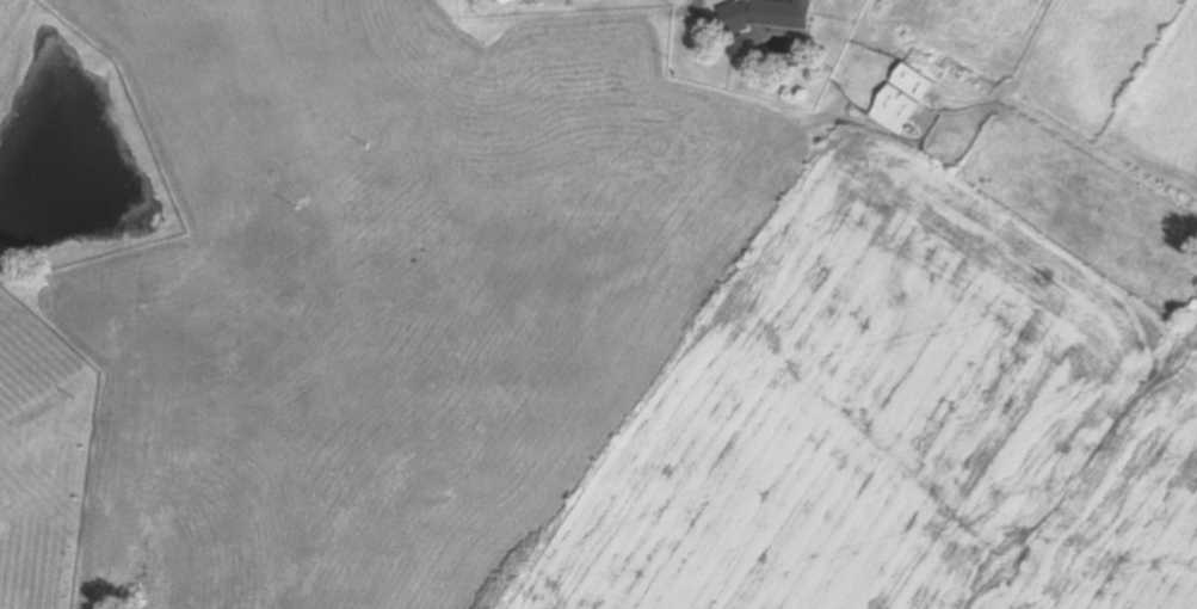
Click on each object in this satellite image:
building: (761, 17)
building: (899, 99)

